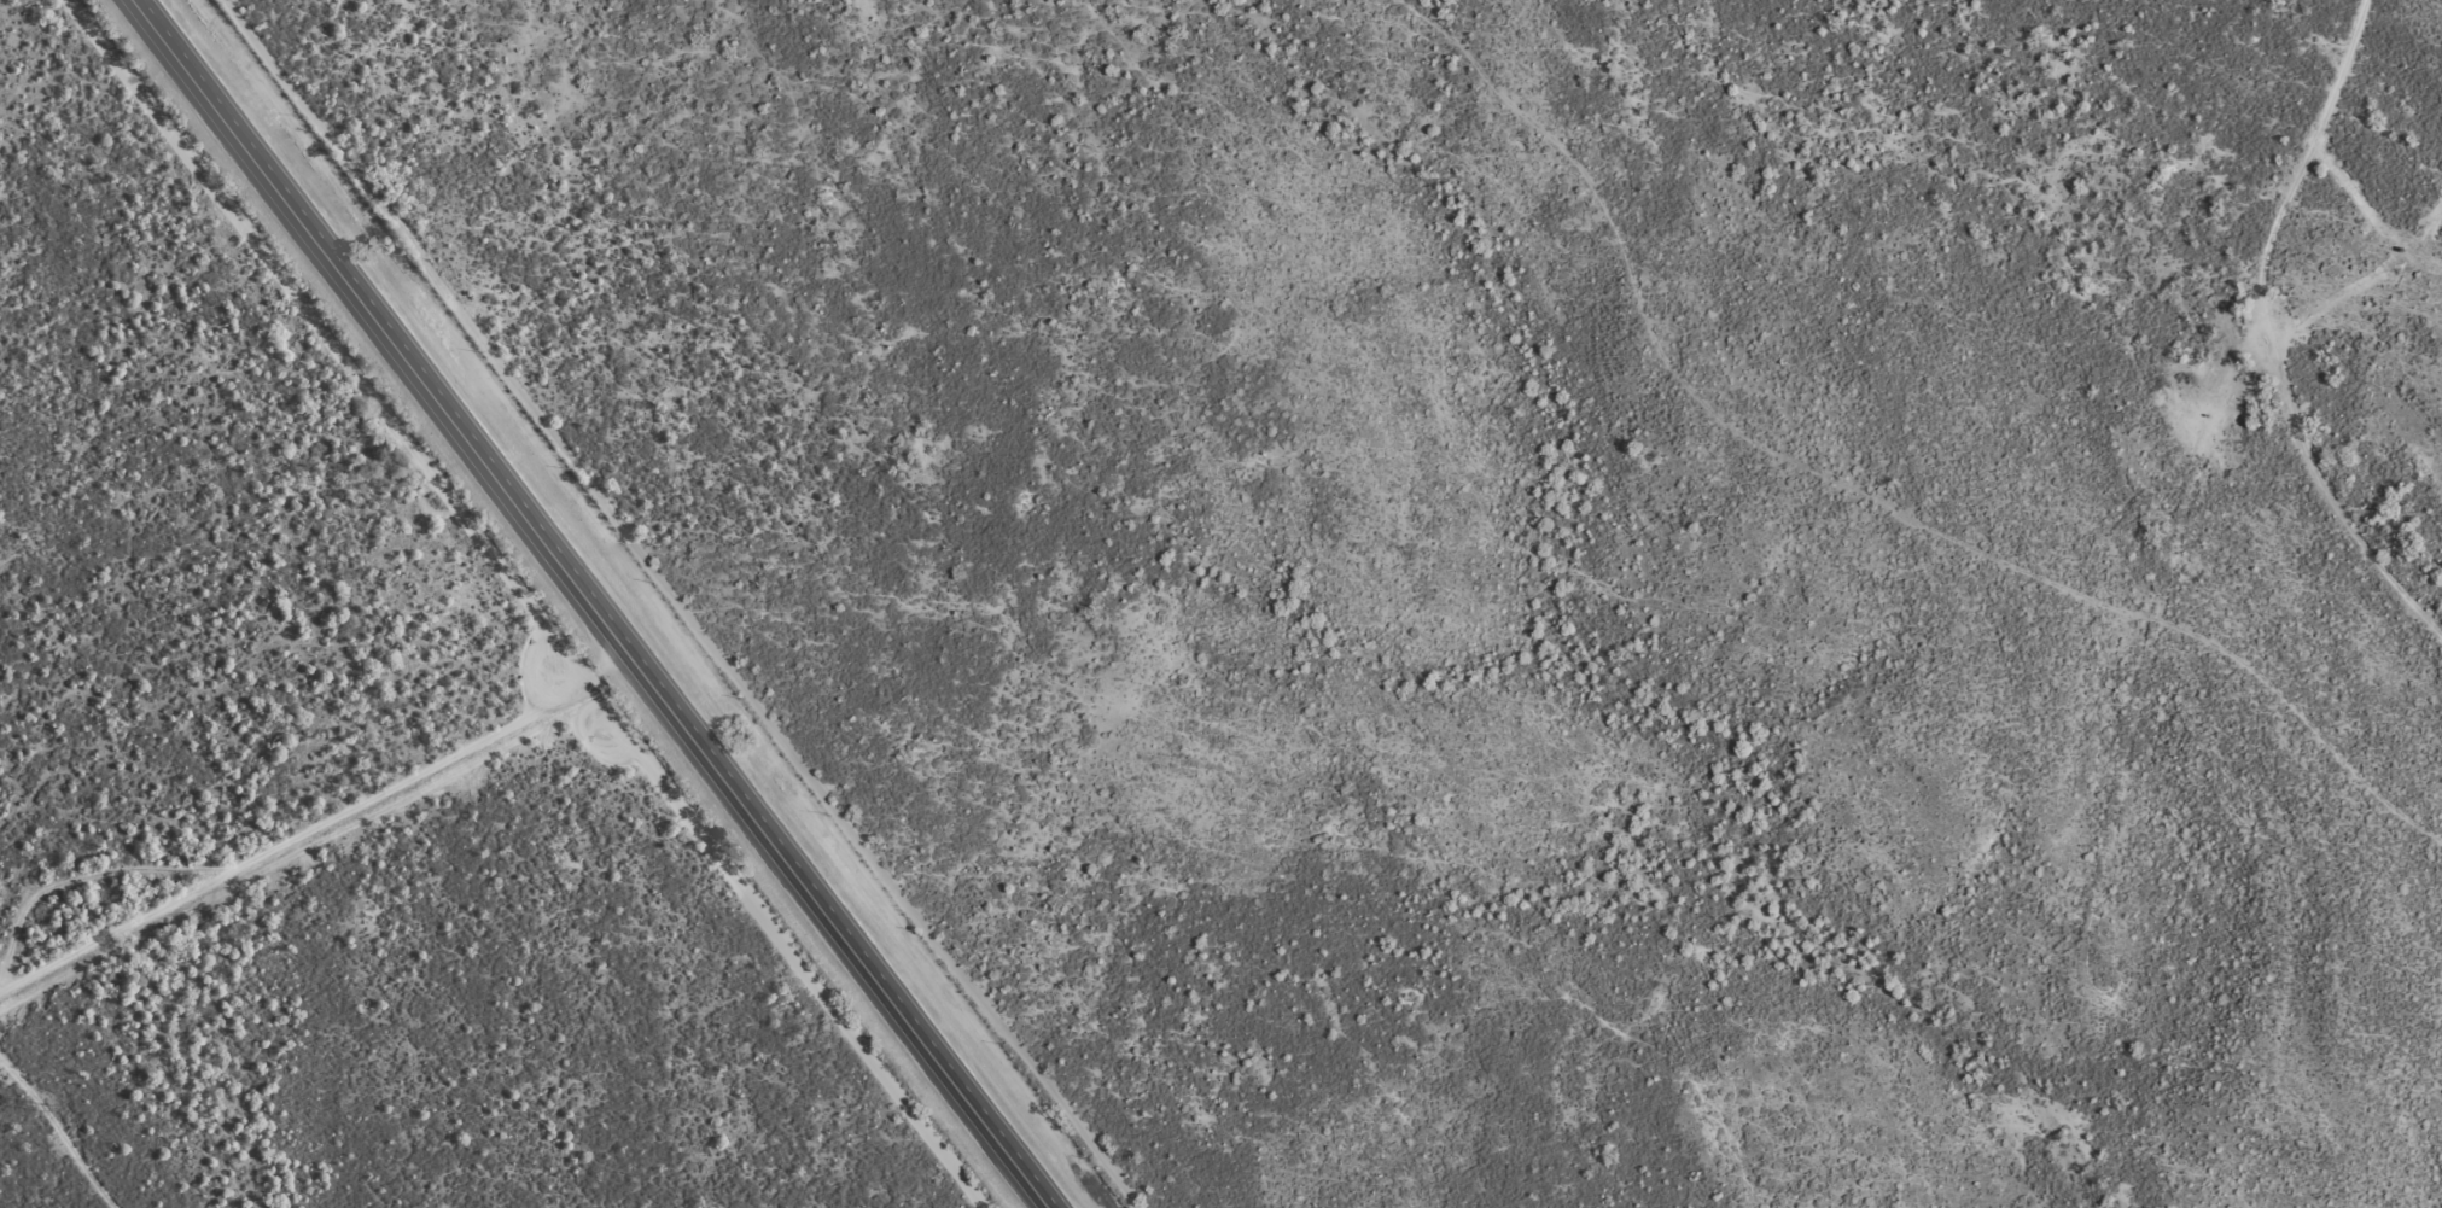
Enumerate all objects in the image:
road: (2339, 88)
road: (1867, 483)
road: (594, 603)
power tower: (41, 1110)

